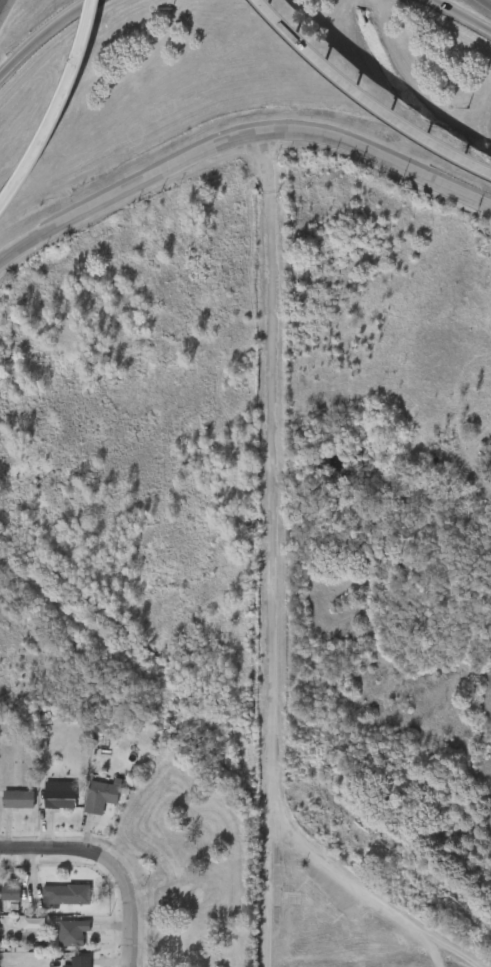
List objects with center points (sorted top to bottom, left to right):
road: (488, 1)
road: (462, 15)
road: (41, 33)
road: (364, 99)
road: (59, 111)
road: (235, 137)
road: (267, 549)
building: (61, 794)
building: (103, 794)
building: (20, 798)
building: (47, 802)
building: (89, 803)
building: (10, 806)
road: (49, 850)
road: (350, 888)
building: (68, 895)
building: (3, 900)
building: (52, 902)
road: (127, 904)
building: (20, 930)
building: (74, 932)
building: (59, 940)
road: (442, 955)
building: (82, 961)
building: (68, 965)

